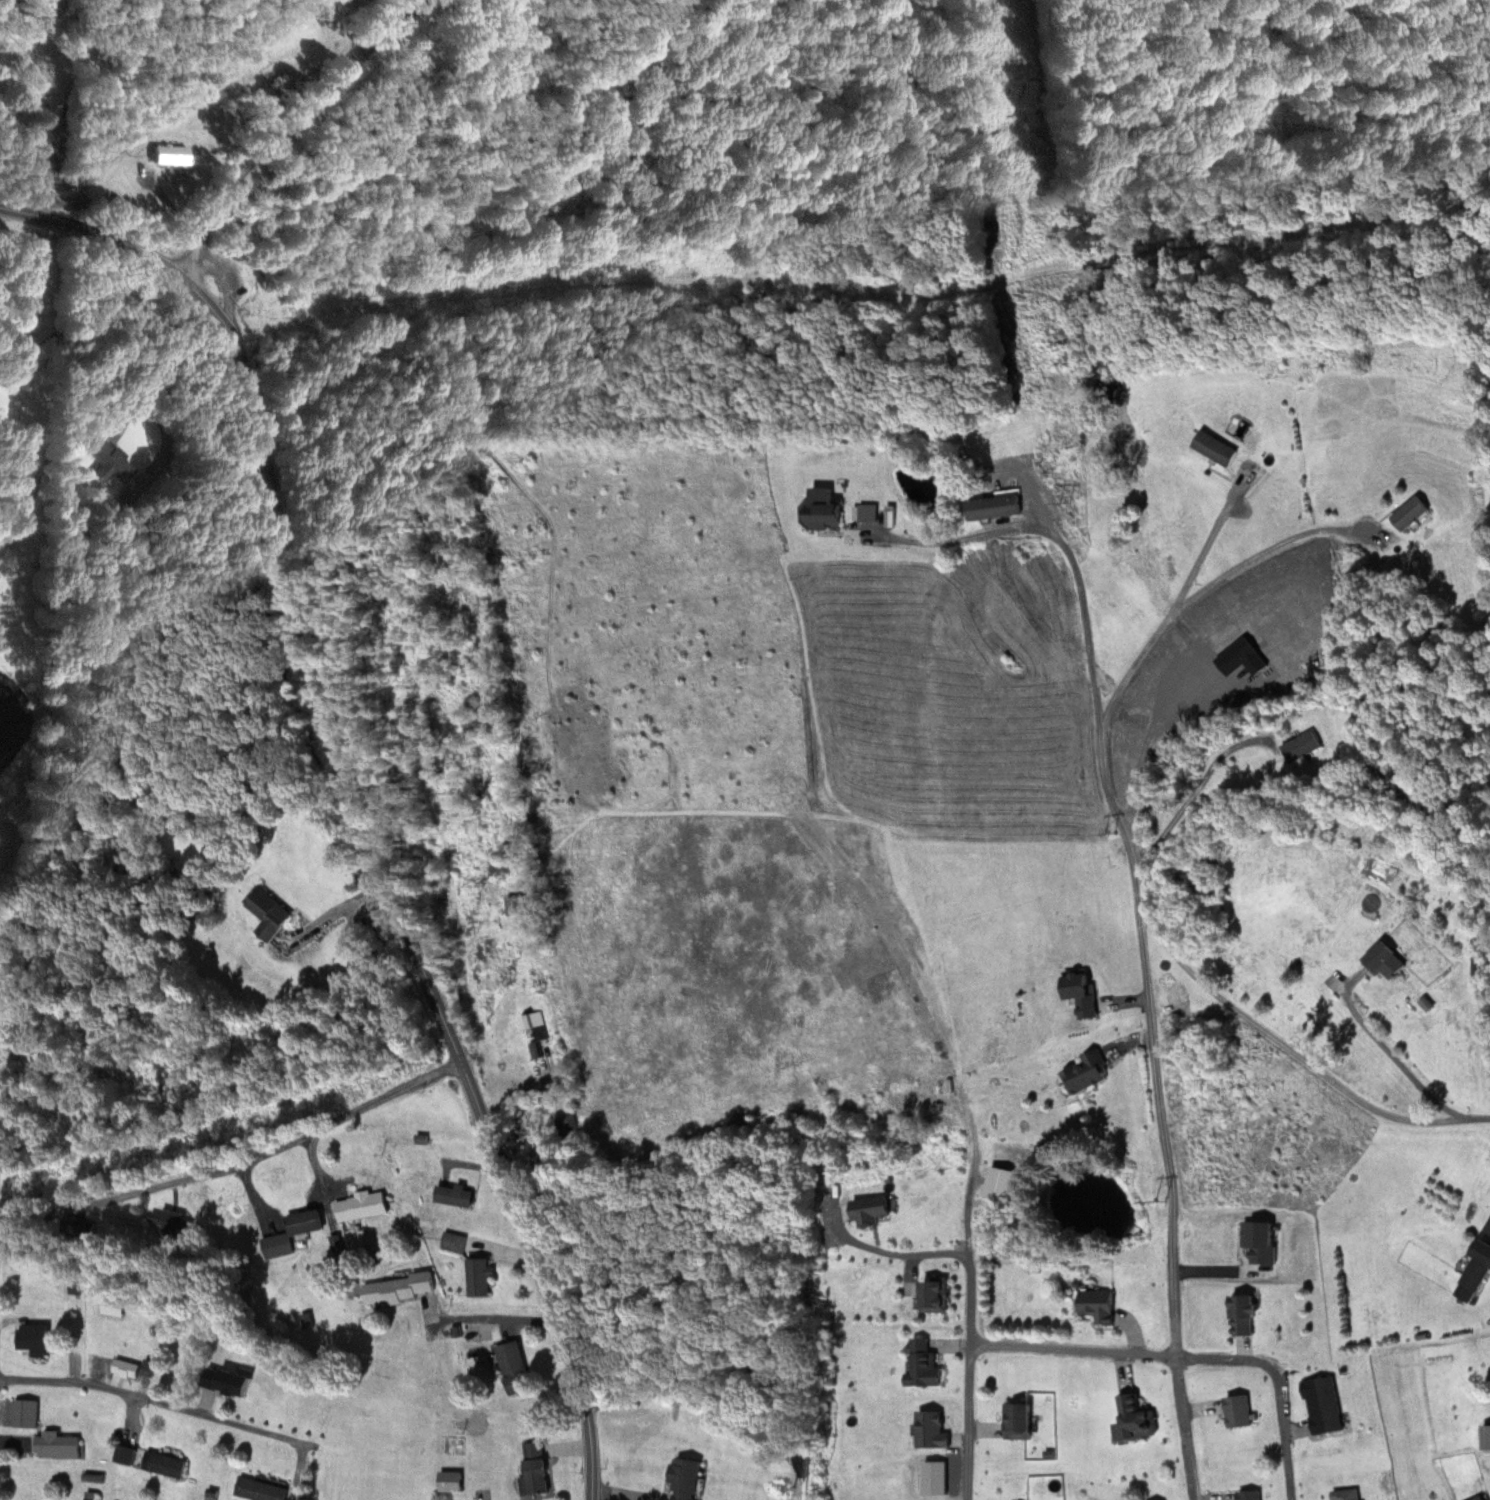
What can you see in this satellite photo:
road: (288, 120)
building: (173, 154)
road: (101, 230)
road: (684, 285)
building: (1216, 447)
building: (112, 464)
building: (993, 507)
building: (866, 512)
building: (1411, 512)
building: (824, 515)
building: (1302, 746)
power tower: (1107, 833)
road: (390, 890)
building: (268, 914)
building: (1386, 960)
building: (1481, 968)
building: (535, 1032)
road: (1150, 1036)
road: (1283, 1043)
building: (1087, 1072)
road: (276, 1146)
building: (1001, 1184)
building: (452, 1195)
power tower: (1157, 1201)
building: (361, 1206)
building: (872, 1210)
road: (39, 1215)
building: (167, 1220)
building: (305, 1222)
building: (1487, 1226)
building: (452, 1242)
building: (1473, 1272)
building: (477, 1277)
building: (396, 1289)
building: (935, 1296)
building: (1098, 1305)
building: (113, 1307)
building: (1244, 1315)
road: (967, 1334)
building: (34, 1339)
road: (1071, 1349)
building: (924, 1365)
building: (513, 1368)
building: (125, 1369)
building: (228, 1382)
road: (1275, 1384)
road: (149, 1399)
building: (1322, 1405)
building: (1239, 1410)
building: (24, 1413)
building: (1137, 1418)
building: (1019, 1420)
building: (927, 1428)
building: (1487, 1437)
building: (55, 1444)
building: (148, 1459)
building: (534, 1468)
building: (685, 1476)
building: (258, 1489)
building: (1347, 1493)
building: (1250, 1494)
building: (1479, 1497)

